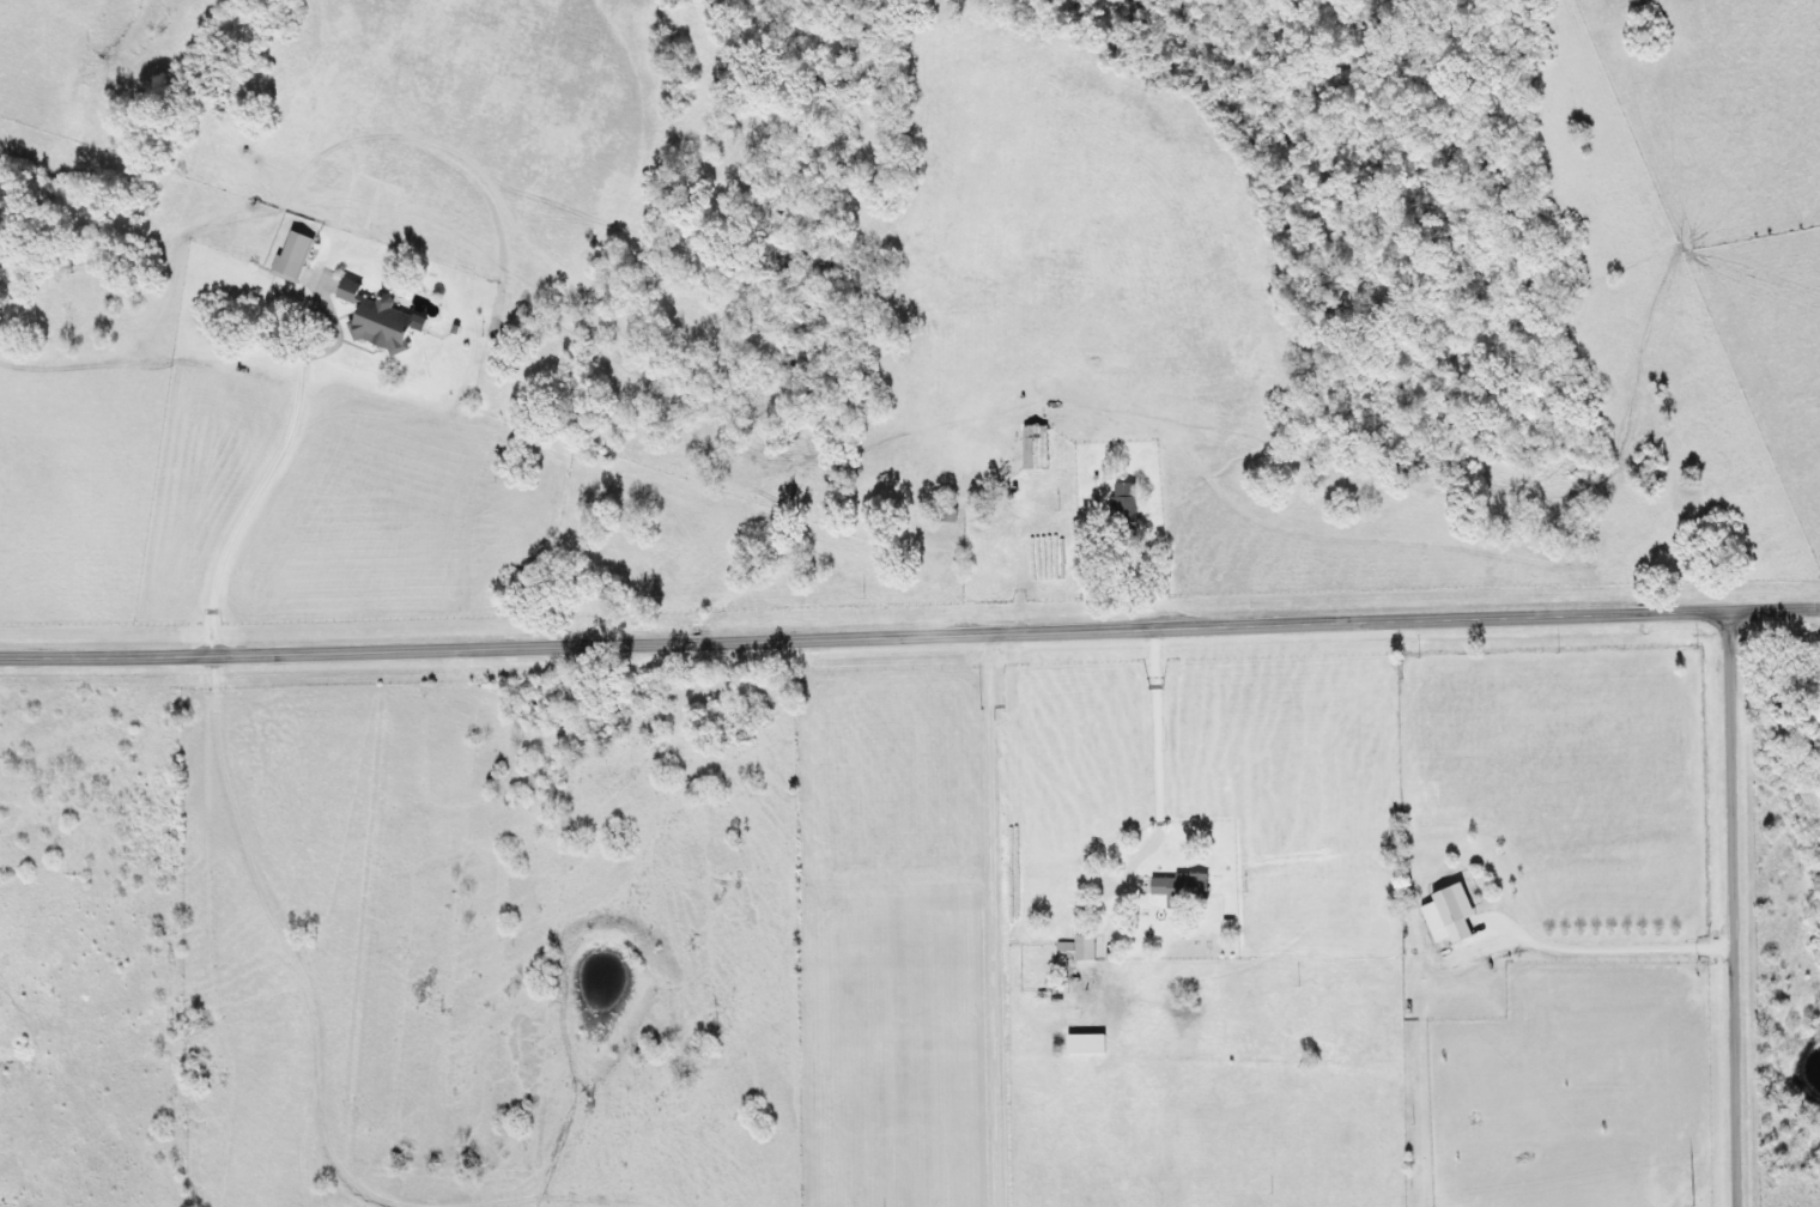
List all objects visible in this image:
building: (299, 257)
building: (386, 320)
building: (1039, 448)
building: (1130, 504)
road: (1772, 606)
road: (862, 633)
building: (1189, 885)
building: (1466, 904)
road: (1734, 908)
building: (1088, 951)

